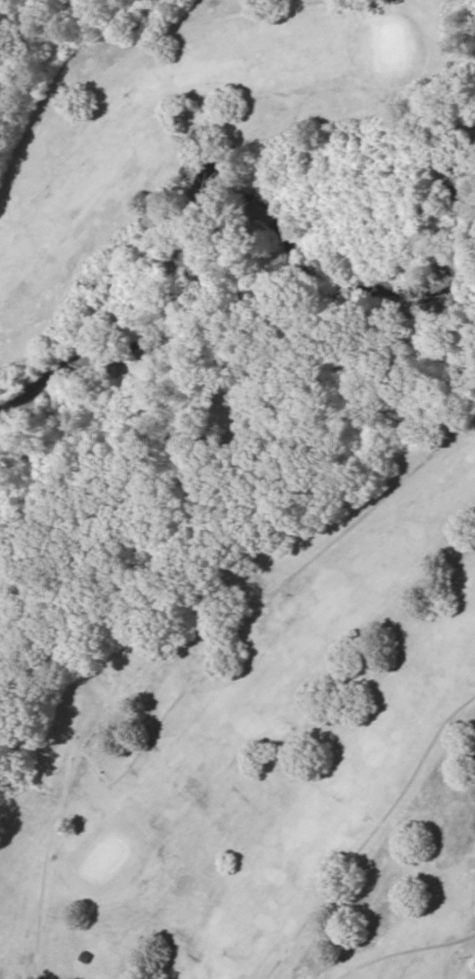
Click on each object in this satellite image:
park: (238, 490)

